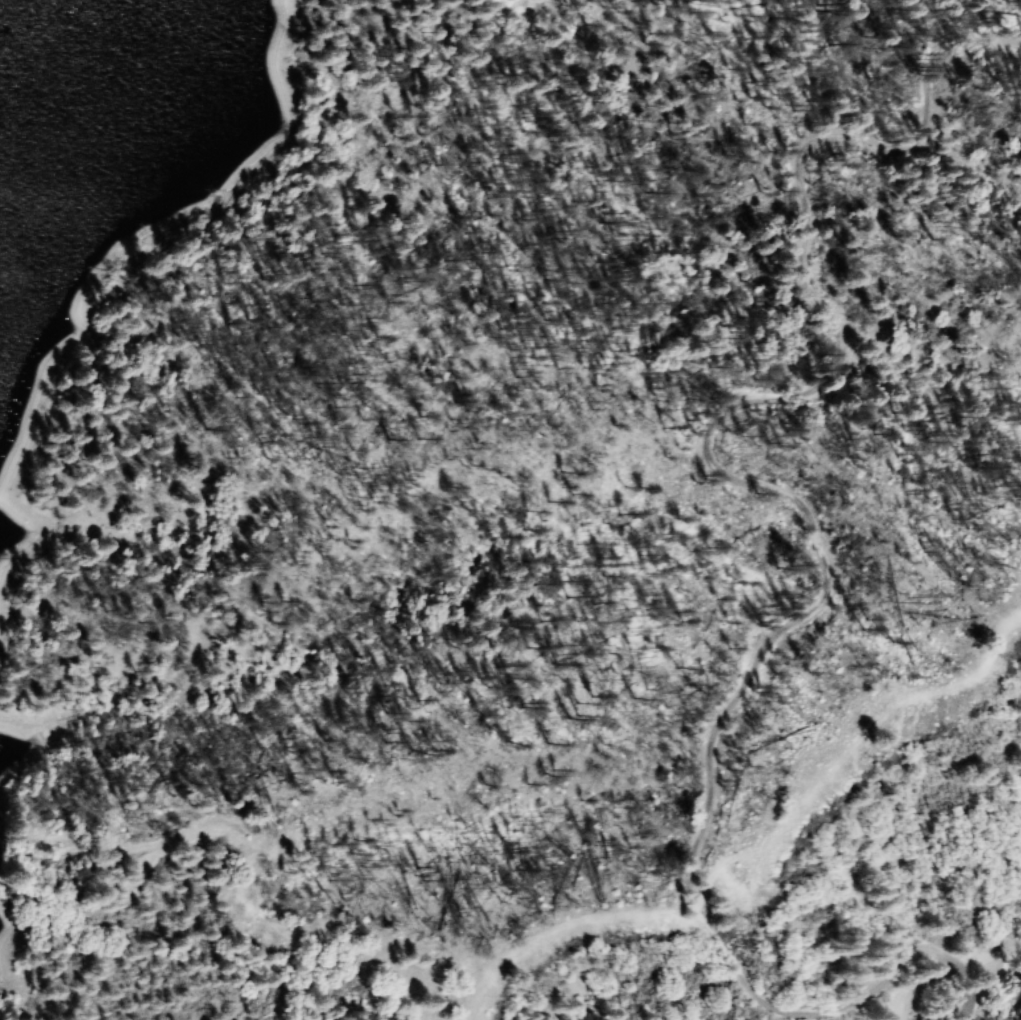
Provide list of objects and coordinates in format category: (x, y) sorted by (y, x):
road: (779, 492)
road: (945, 969)

